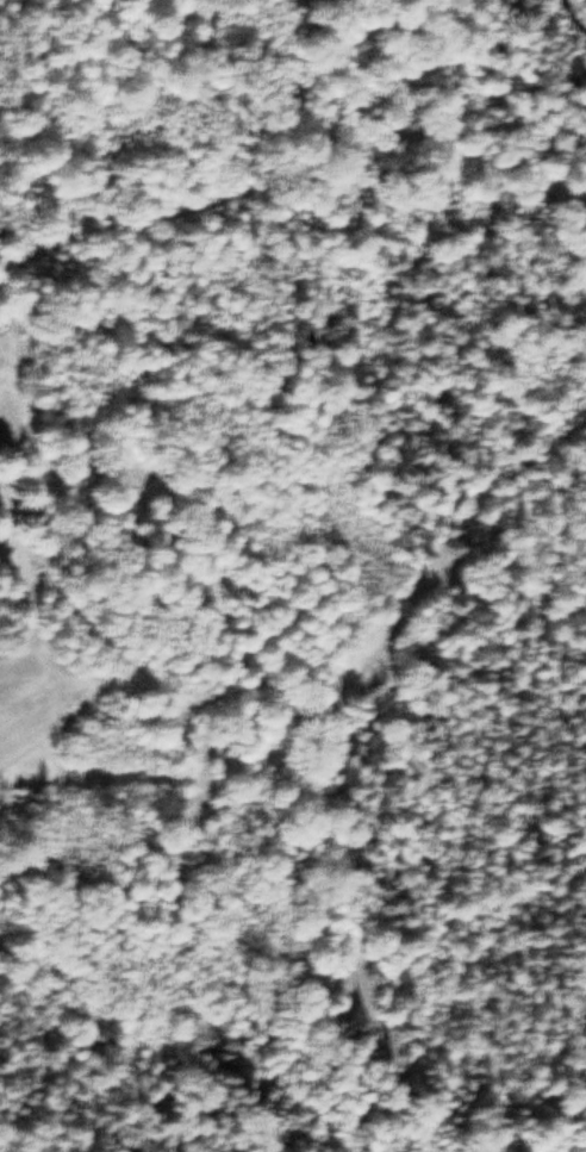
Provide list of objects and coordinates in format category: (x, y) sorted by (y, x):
road: (295, 180)

